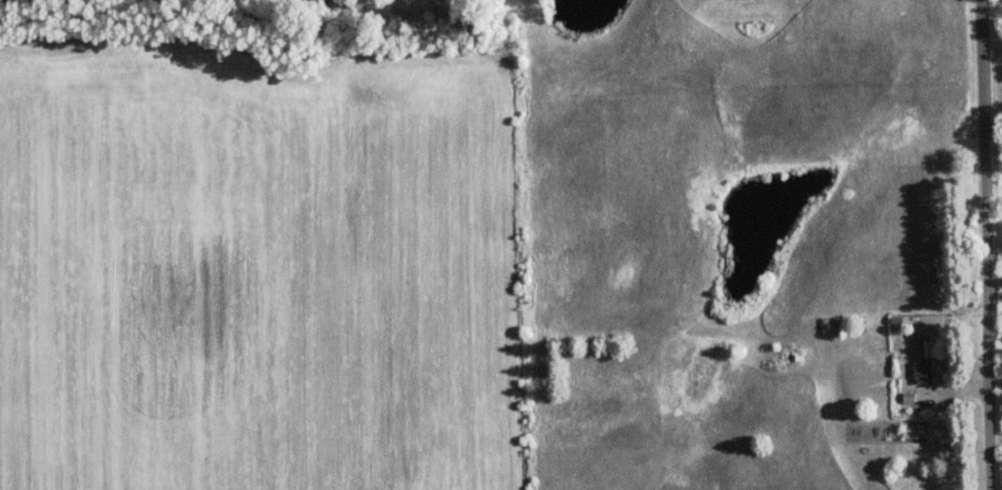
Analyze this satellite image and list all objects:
road: (983, 245)
building: (928, 359)

